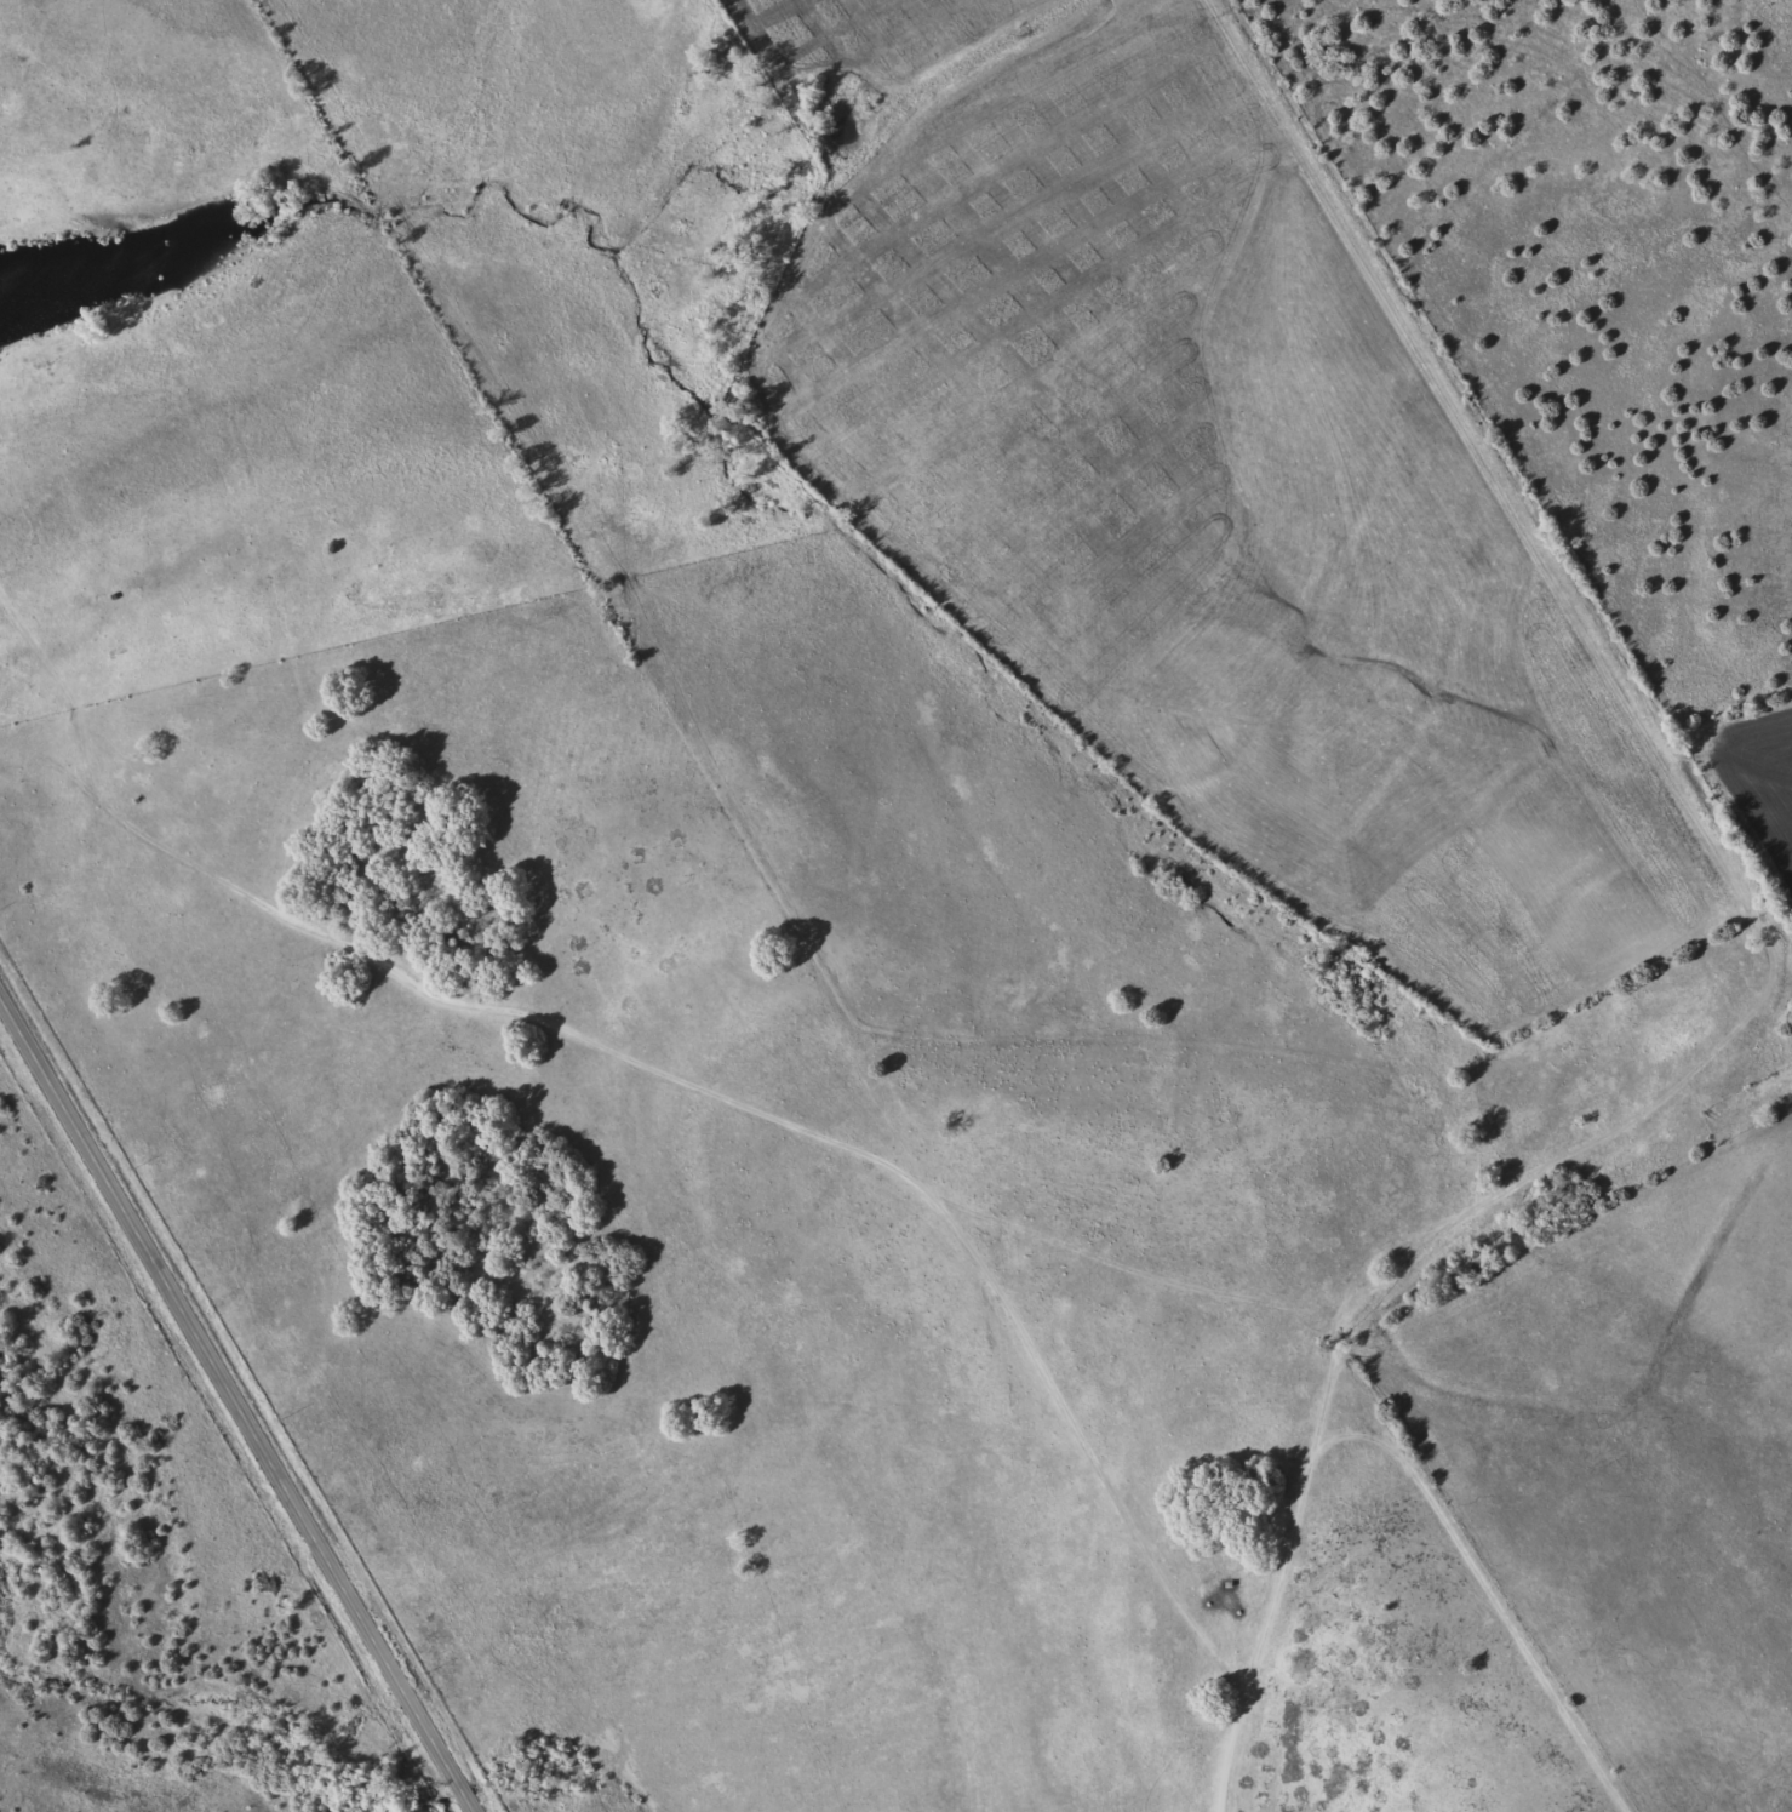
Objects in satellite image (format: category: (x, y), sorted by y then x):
road: (242, 1393)

